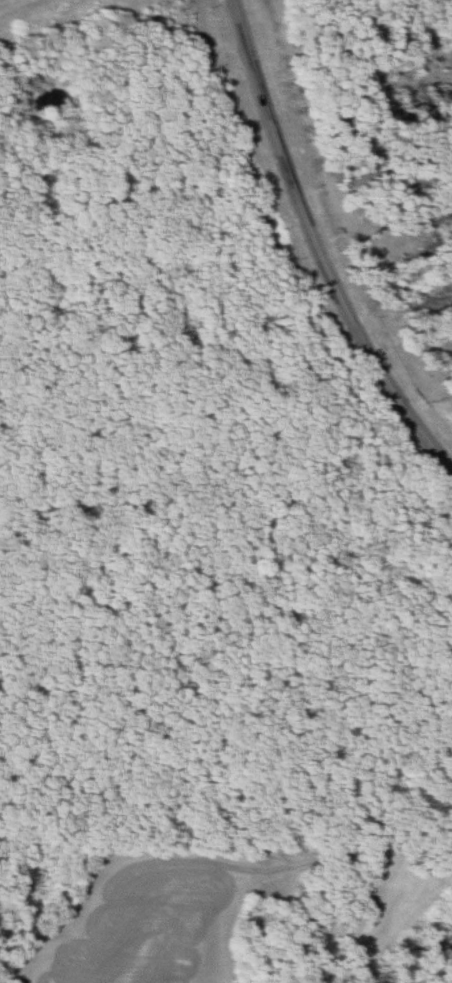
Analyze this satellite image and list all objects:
road: (320, 241)

